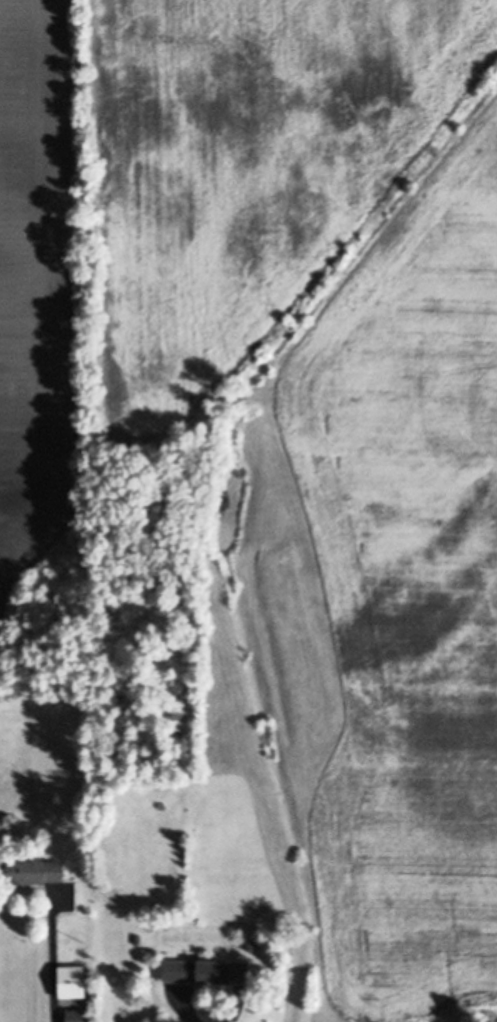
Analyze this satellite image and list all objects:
building: (35, 870)
building: (138, 938)
building: (252, 946)
road: (53, 960)
building: (205, 970)
building: (71, 981)
road: (187, 1009)
building: (76, 1015)

